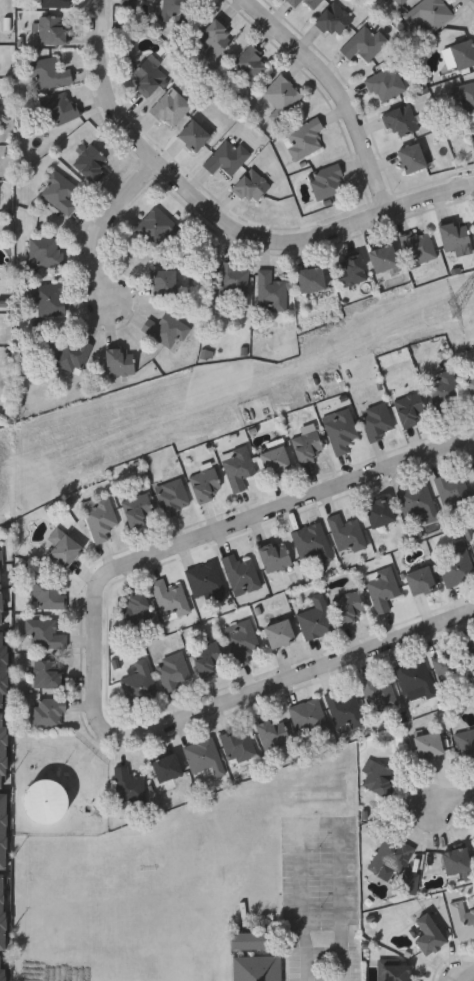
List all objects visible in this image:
building: (294, 2)
building: (54, 3)
building: (312, 3)
building: (396, 3)
building: (127, 5)
building: (178, 9)
building: (428, 16)
building: (333, 20)
building: (53, 29)
building: (215, 36)
building: (364, 44)
building: (463, 53)
building: (250, 65)
building: (48, 71)
building: (148, 75)
building: (386, 83)
building: (282, 94)
road: (342, 94)
building: (467, 96)
building: (170, 107)
building: (61, 108)
building: (401, 121)
building: (473, 127)
building: (193, 135)
building: (303, 139)
building: (227, 157)
building: (412, 158)
building: (88, 162)
building: (327, 181)
building: (251, 186)
building: (59, 192)
road: (223, 220)
building: (156, 226)
road: (116, 228)
building: (454, 235)
building: (418, 247)
building: (45, 252)
building: (383, 258)
building: (350, 271)
building: (310, 279)
building: (233, 280)
building: (163, 282)
building: (270, 292)
building: (47, 300)
power tower: (455, 309)
building: (166, 330)
building: (72, 354)
building: (119, 361)
building: (471, 387)
building: (444, 389)
building: (410, 408)
building: (378, 422)
building: (341, 430)
building: (275, 462)
building: (237, 468)
building: (205, 485)
building: (452, 490)
building: (172, 496)
building: (417, 503)
building: (136, 506)
building: (379, 513)
building: (99, 517)
road: (267, 522)
building: (347, 534)
building: (312, 545)
building: (473, 545)
building: (63, 547)
building: (275, 556)
building: (458, 566)
building: (241, 574)
building: (205, 580)
building: (419, 581)
building: (382, 588)
building: (47, 594)
building: (168, 596)
building: (349, 606)
building: (0, 607)
building: (135, 609)
building: (314, 616)
building: (45, 633)
building: (279, 634)
building: (241, 641)
building: (470, 648)
building: (206, 656)
building: (449, 667)
building: (173, 672)
building: (46, 673)
building: (415, 678)
building: (139, 683)
building: (380, 694)
road: (242, 703)
building: (345, 709)
building: (49, 712)
building: (309, 717)
building: (272, 733)
building: (428, 744)
building: (466, 744)
building: (238, 745)
building: (202, 755)
building: (166, 768)
building: (377, 776)
building: (128, 786)
building: (45, 804)
road: (458, 804)
road: (330, 825)
building: (390, 855)
building: (456, 861)
building: (462, 919)
building: (427, 934)
building: (250, 939)
building: (257, 968)
building: (393, 972)

